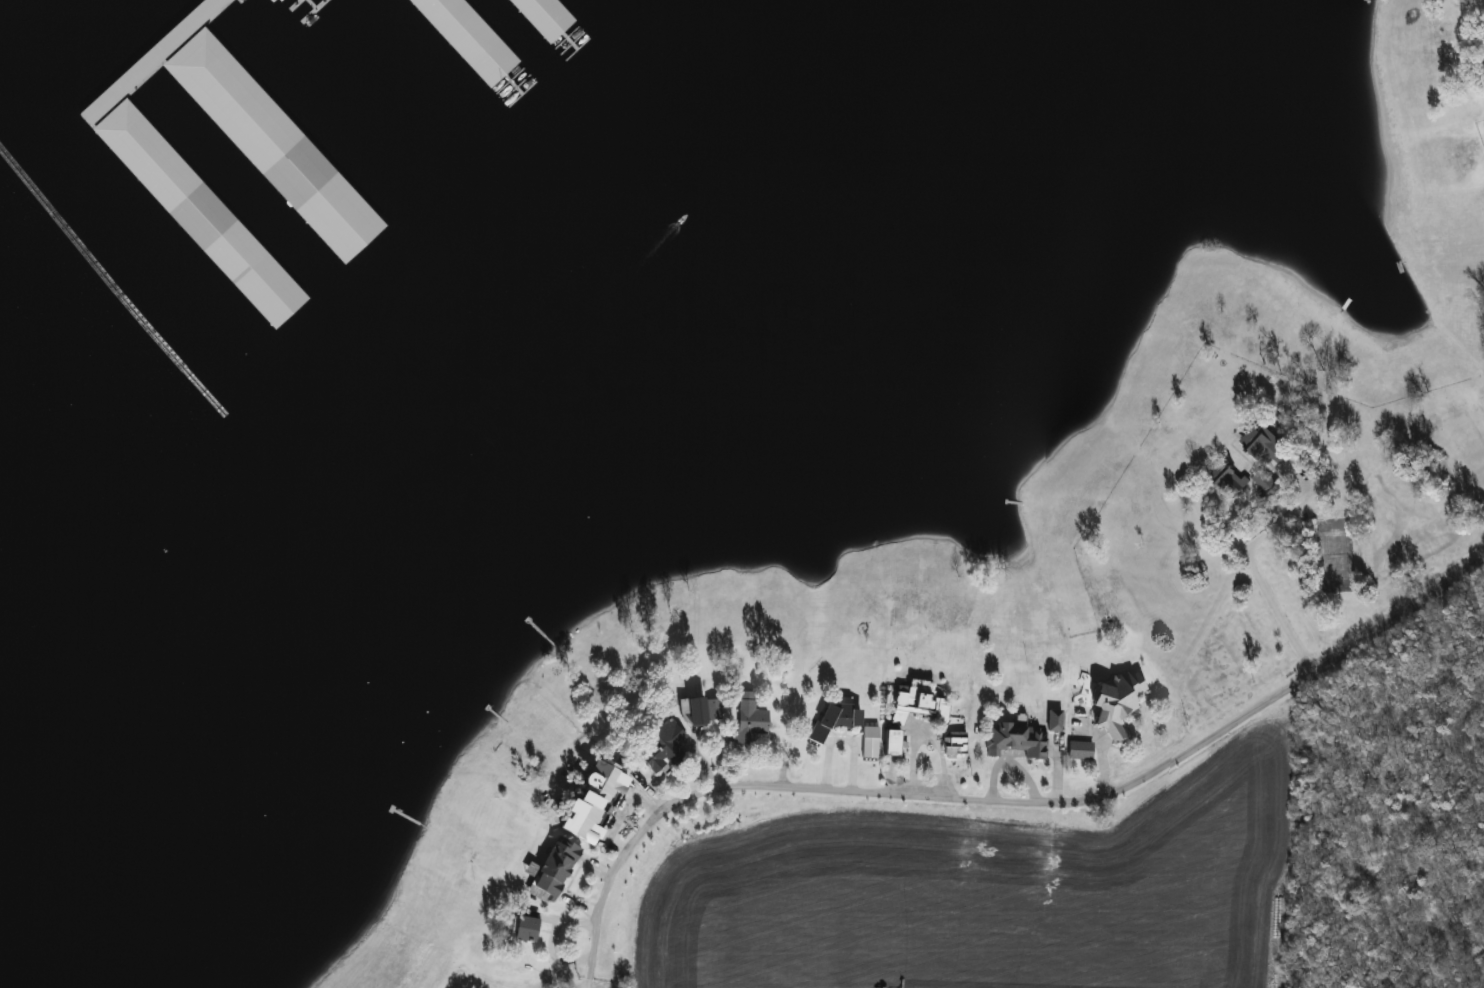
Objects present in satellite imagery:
building: (279, 0)
building: (232, 102)
building: (155, 166)
building: (1269, 447)
building: (1227, 480)
building: (1262, 481)
road: (1255, 577)
building: (1117, 705)
building: (919, 708)
building: (702, 712)
building: (837, 718)
building: (751, 720)
building: (1054, 722)
building: (871, 734)
building: (1019, 741)
building: (892, 745)
building: (957, 746)
building: (663, 748)
building: (1081, 752)
road: (1006, 800)
building: (598, 801)
building: (556, 869)
building: (525, 931)

